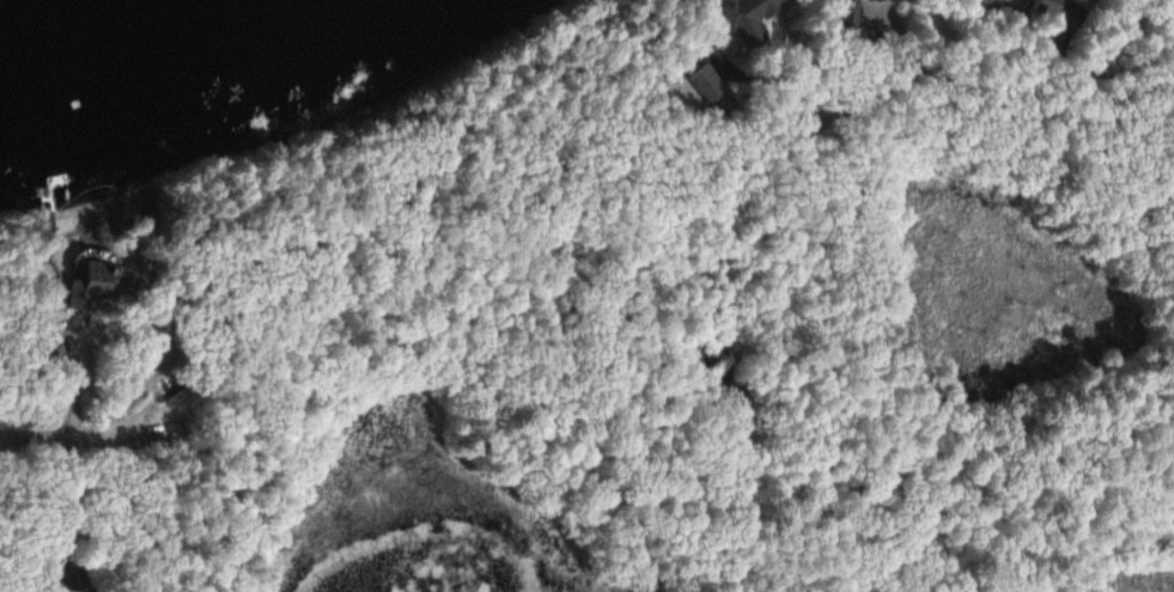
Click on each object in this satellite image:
building: (980, 4)
building: (1041, 5)
building: (843, 12)
building: (740, 17)
building: (706, 87)
road: (979, 87)
road: (510, 188)
building: (89, 282)
building: (43, 352)
road: (601, 392)
road: (77, 441)
road: (144, 470)

